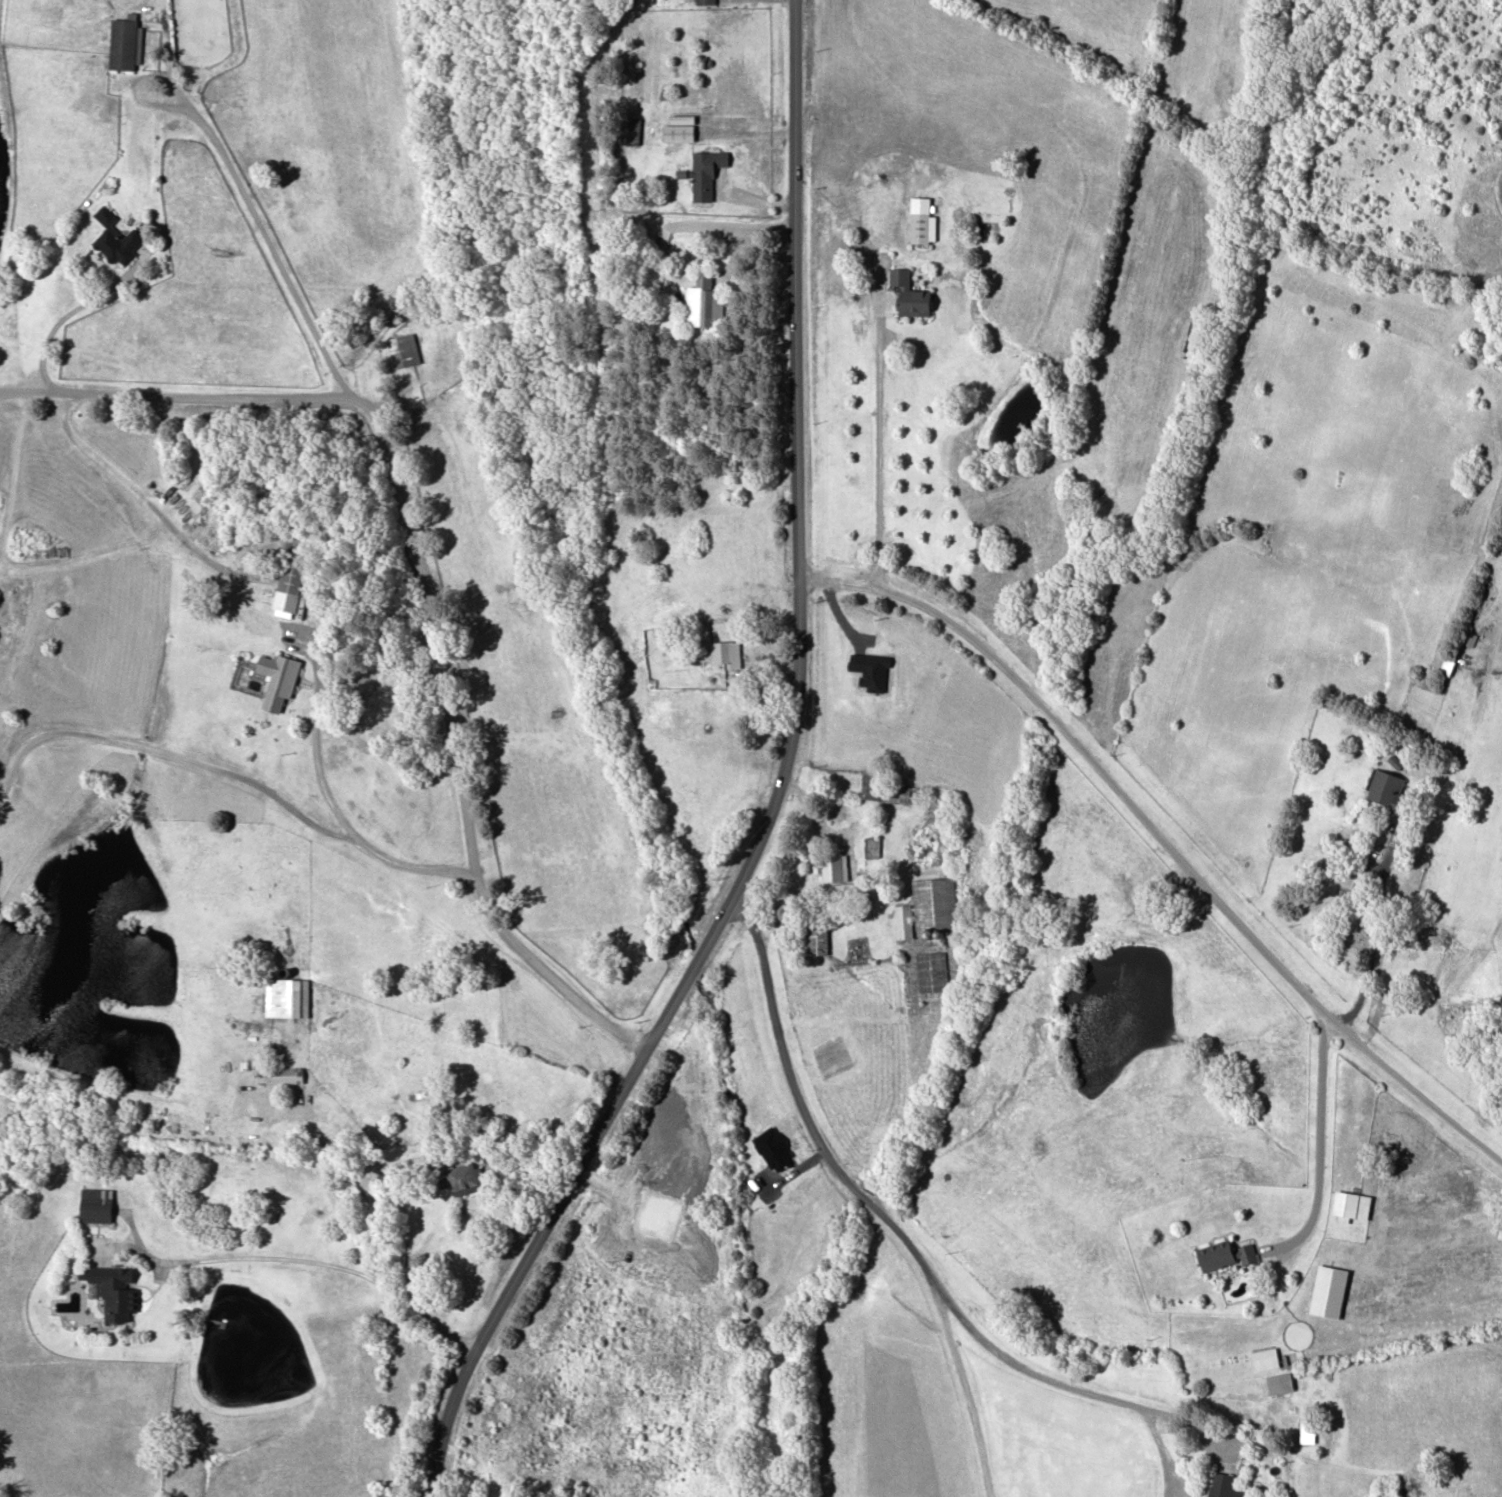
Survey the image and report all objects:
building: (704, 1)
building: (123, 42)
building: (678, 127)
building: (632, 129)
building: (705, 171)
road: (235, 181)
road: (759, 198)
building: (919, 226)
building: (114, 237)
building: (910, 292)
building: (702, 301)
road: (59, 318)
building: (402, 348)
road: (876, 427)
road: (424, 577)
building: (289, 584)
road: (282, 628)
building: (725, 650)
building: (1448, 664)
building: (277, 679)
building: (1385, 788)
road: (775, 789)
building: (888, 789)
road: (1160, 842)
building: (872, 845)
building: (832, 864)
building: (934, 904)
building: (902, 920)
building: (816, 940)
building: (856, 948)
building: (931, 969)
building: (286, 996)
building: (285, 1073)
road: (1317, 1144)
building: (466, 1177)
building: (96, 1203)
building: (1351, 1205)
road: (398, 1216)
road: (905, 1240)
building: (1224, 1253)
road: (327, 1264)
building: (1329, 1290)
building: (114, 1292)
building: (1265, 1358)
building: (1279, 1382)
road: (966, 1387)
building: (1307, 1430)
building: (1224, 1485)

